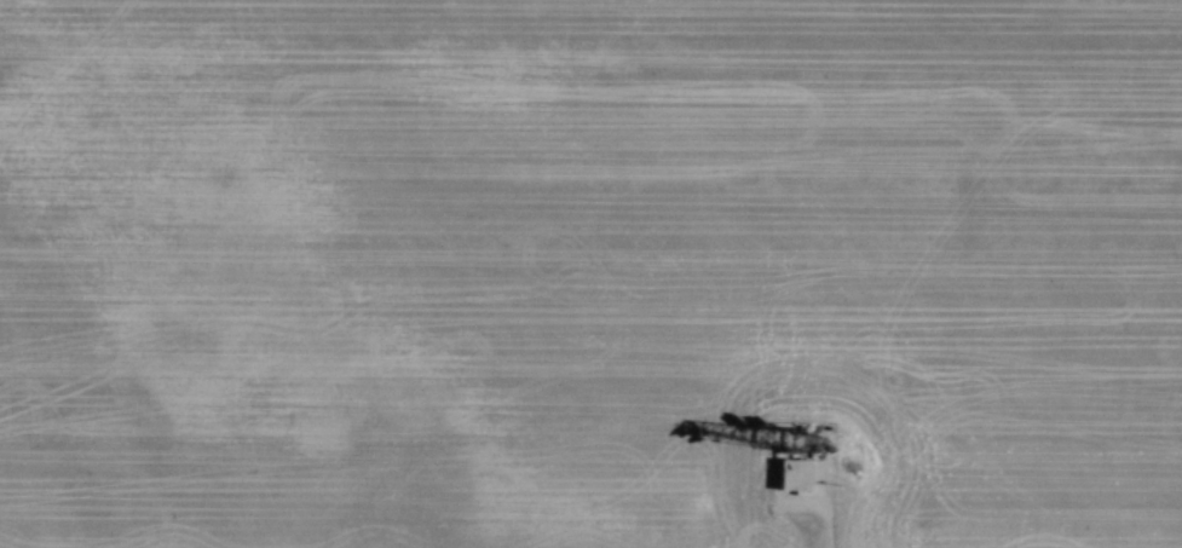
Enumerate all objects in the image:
crop: (587, 270)
building: (788, 474)
road: (823, 492)

